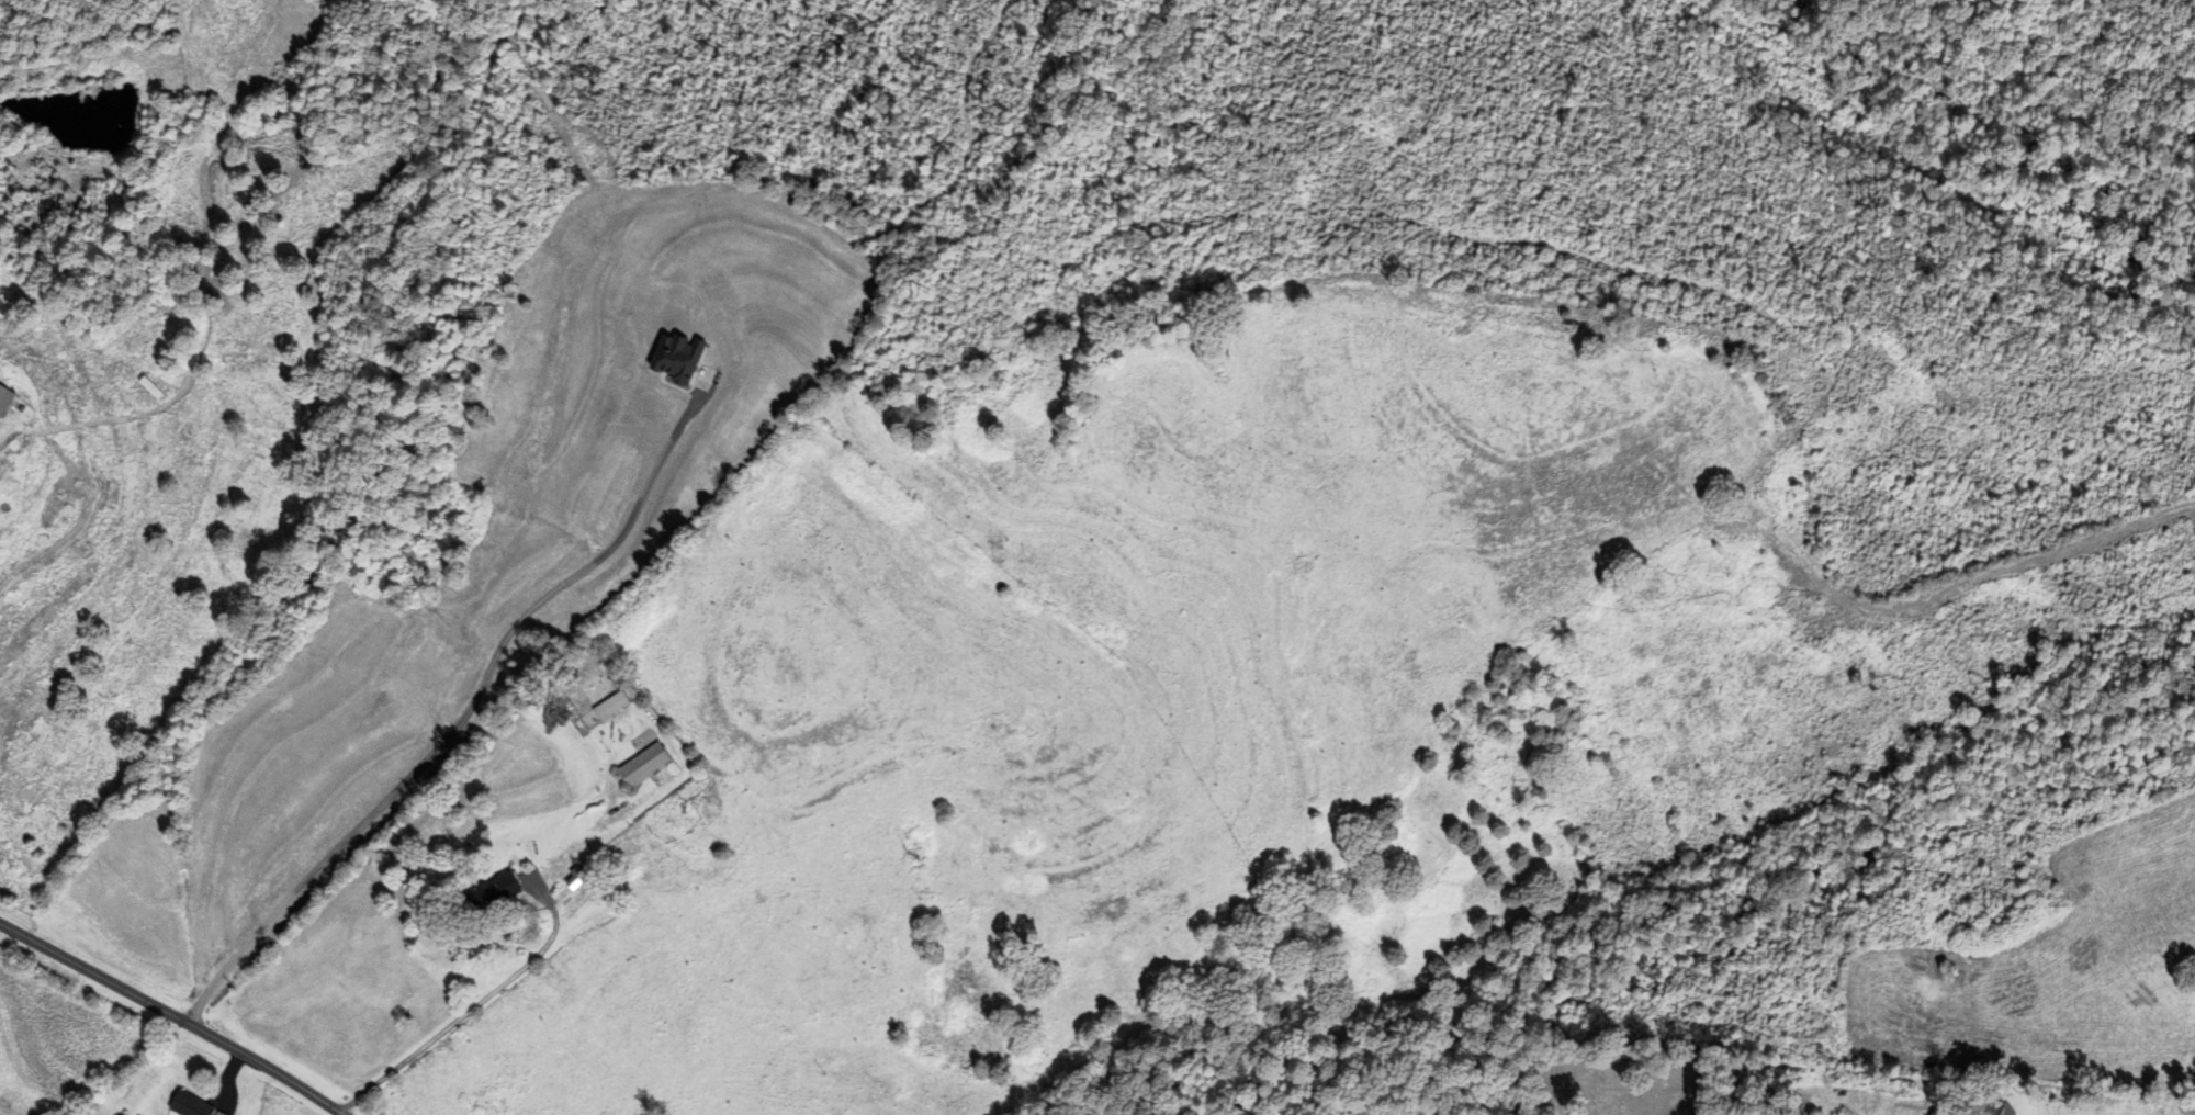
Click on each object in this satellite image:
building: (149, 387)
building: (2, 397)
building: (608, 705)
road: (462, 719)
building: (641, 764)
building: (488, 891)
road: (477, 1006)
road: (175, 1014)
building: (198, 1104)

